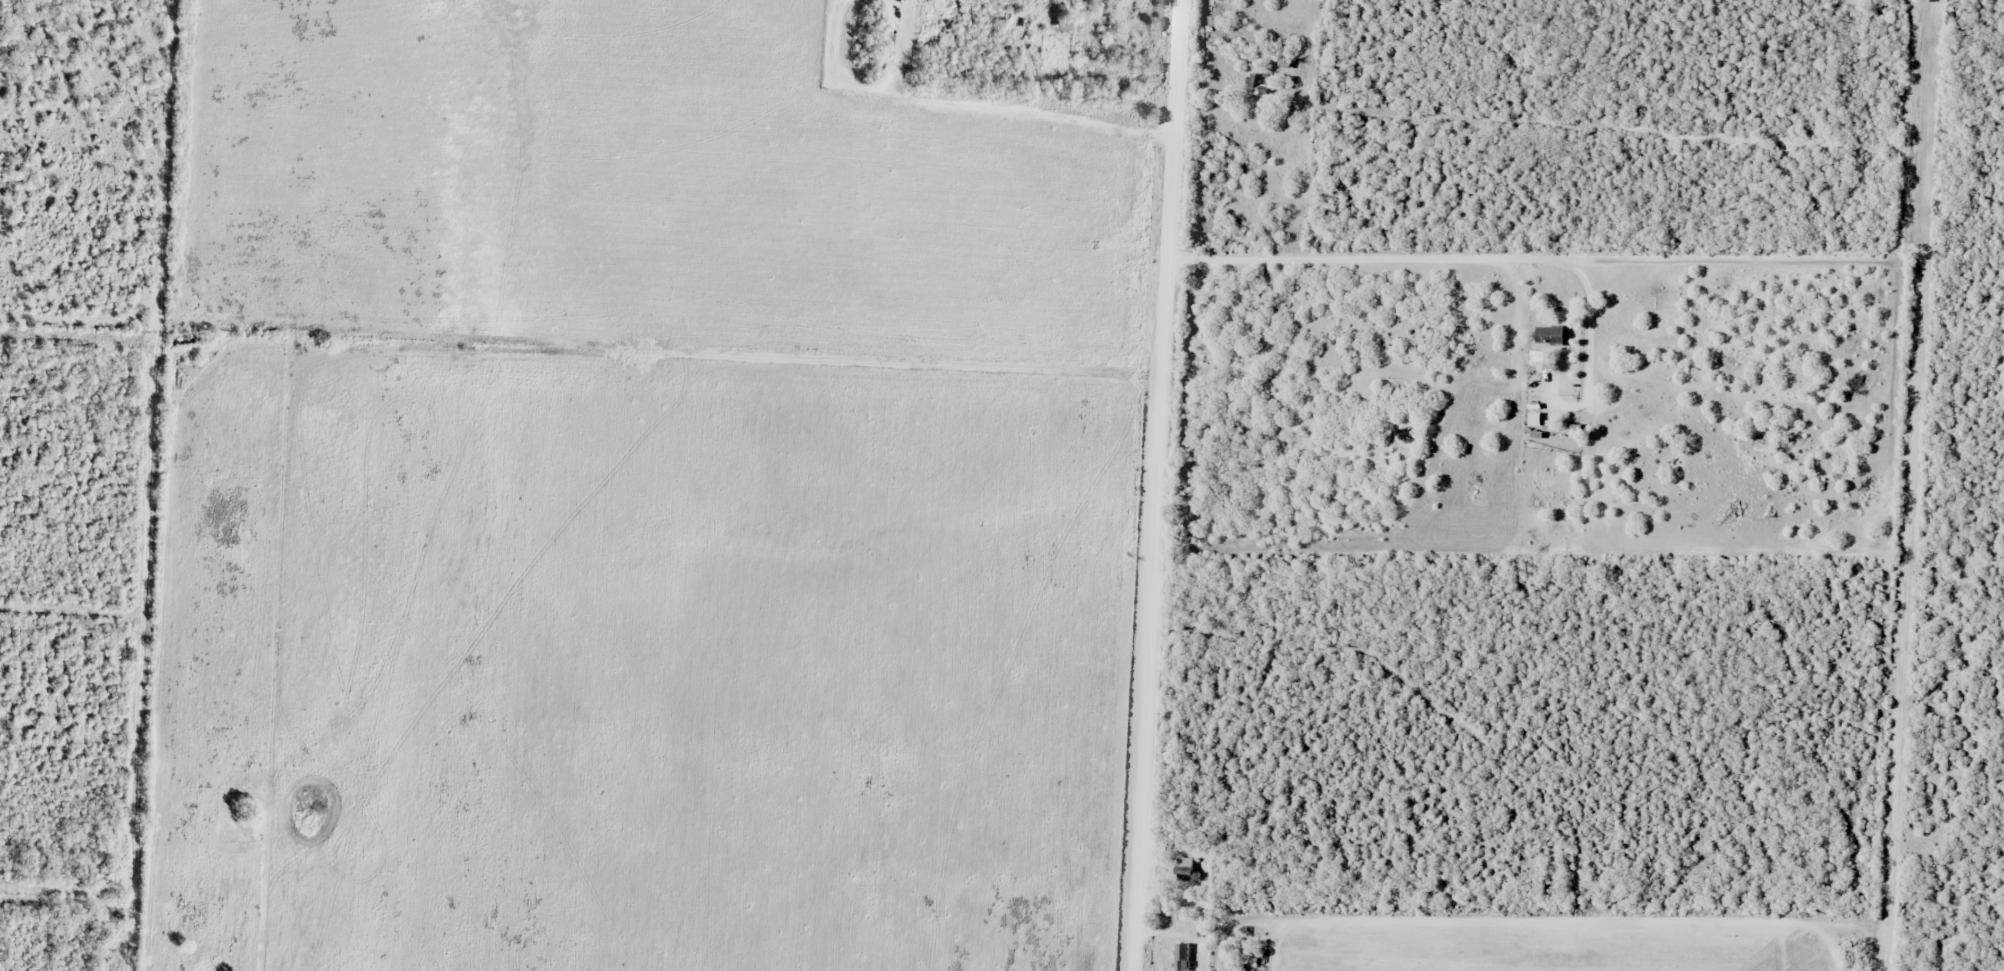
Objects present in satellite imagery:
building: (894, 40)
building: (1553, 334)
building: (1540, 357)
road: (1156, 485)
building: (1188, 868)
building: (1183, 956)

